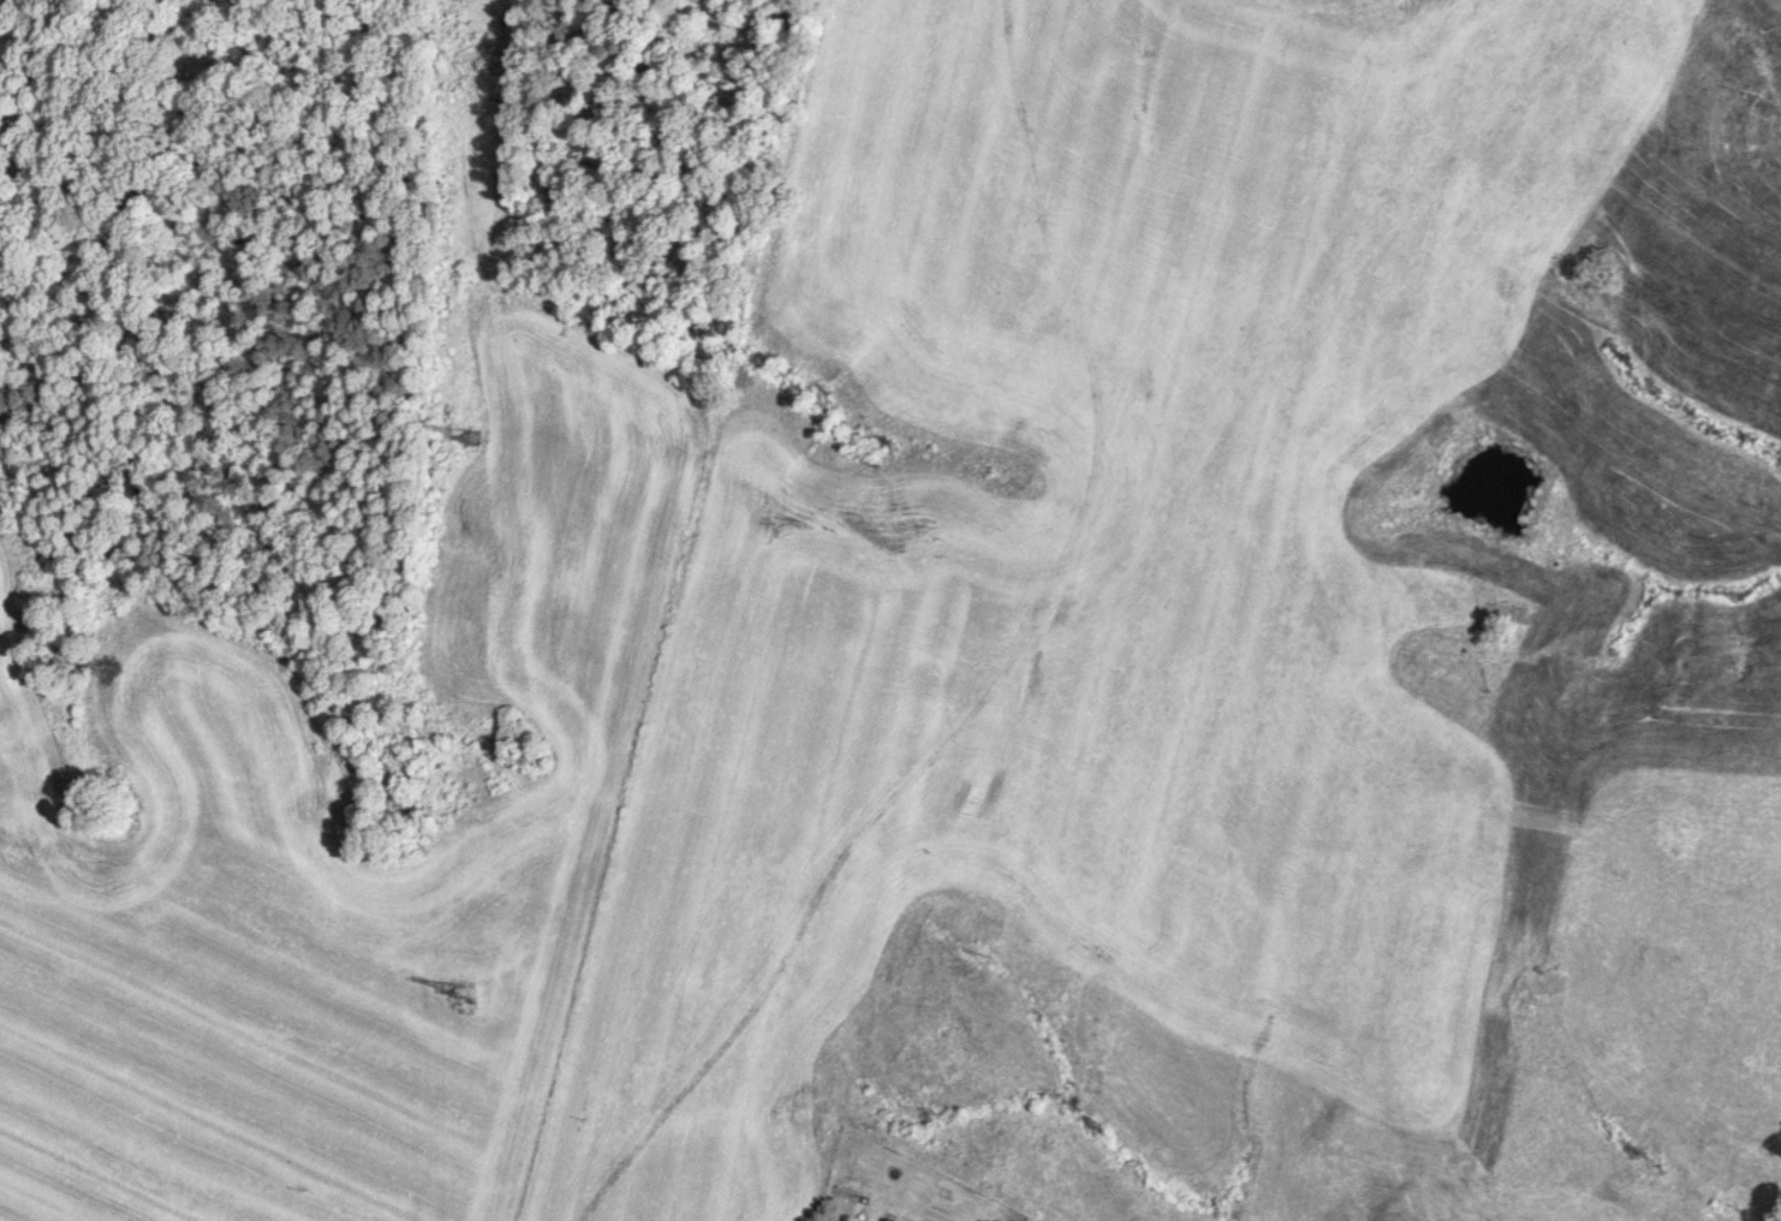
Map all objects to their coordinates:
power tower: (469, 428)
power tower: (470, 994)
building: (857, 1219)

